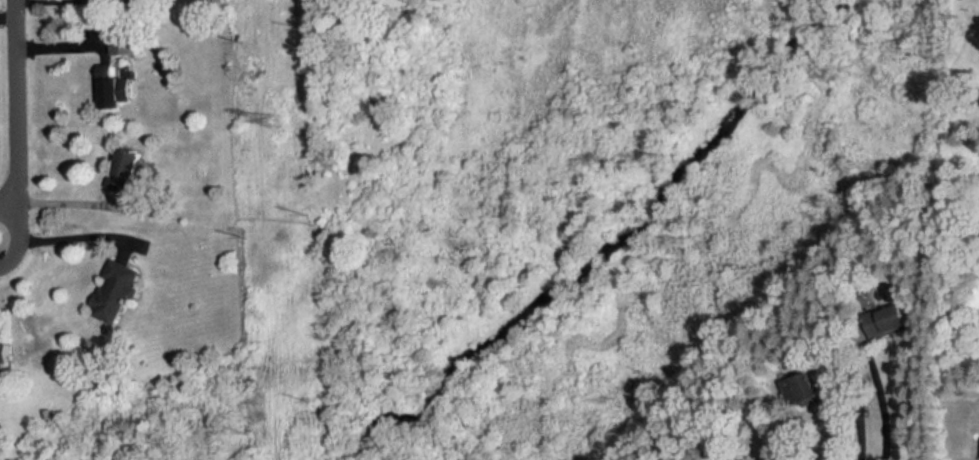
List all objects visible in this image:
road: (45, 0)
building: (118, 86)
road: (15, 113)
power tower: (275, 126)
building: (128, 173)
road: (61, 238)
building: (116, 289)
building: (896, 318)
building: (7, 352)
building: (807, 389)
road: (884, 404)
road: (861, 427)

